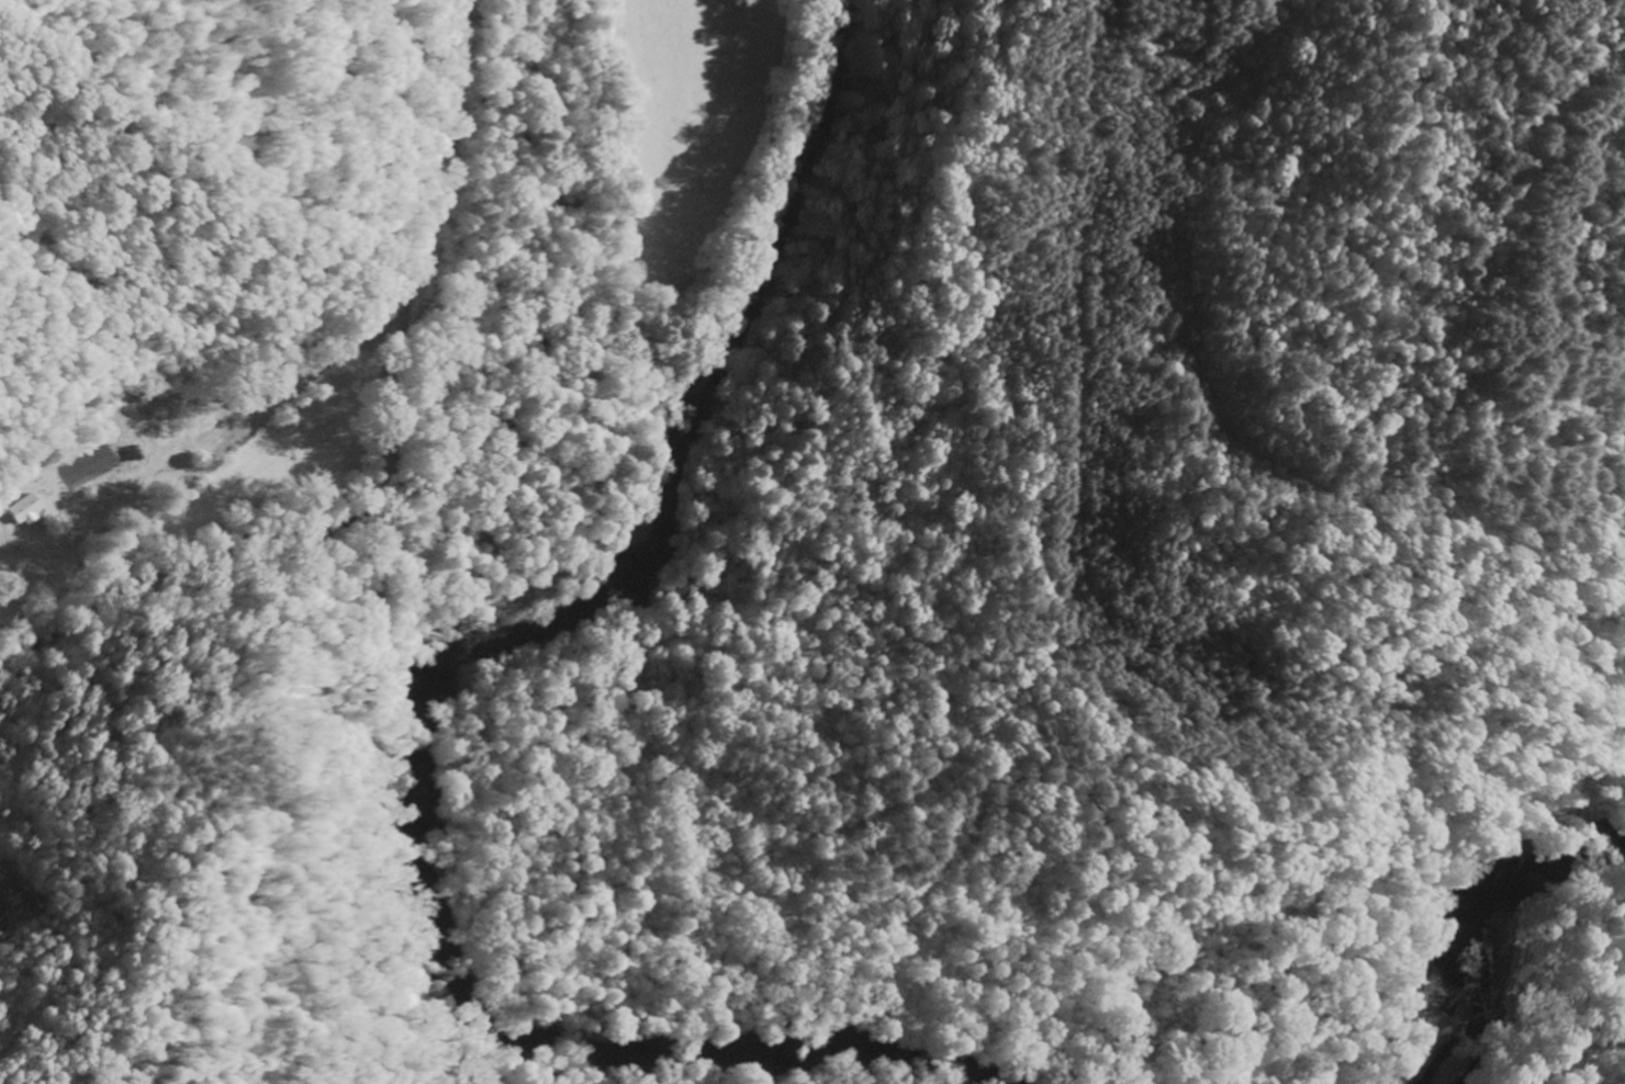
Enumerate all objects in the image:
road: (348, 335)
road: (368, 352)
building: (25, 509)
road: (57, 594)
road: (15, 626)
road: (361, 682)
road: (1573, 1058)

